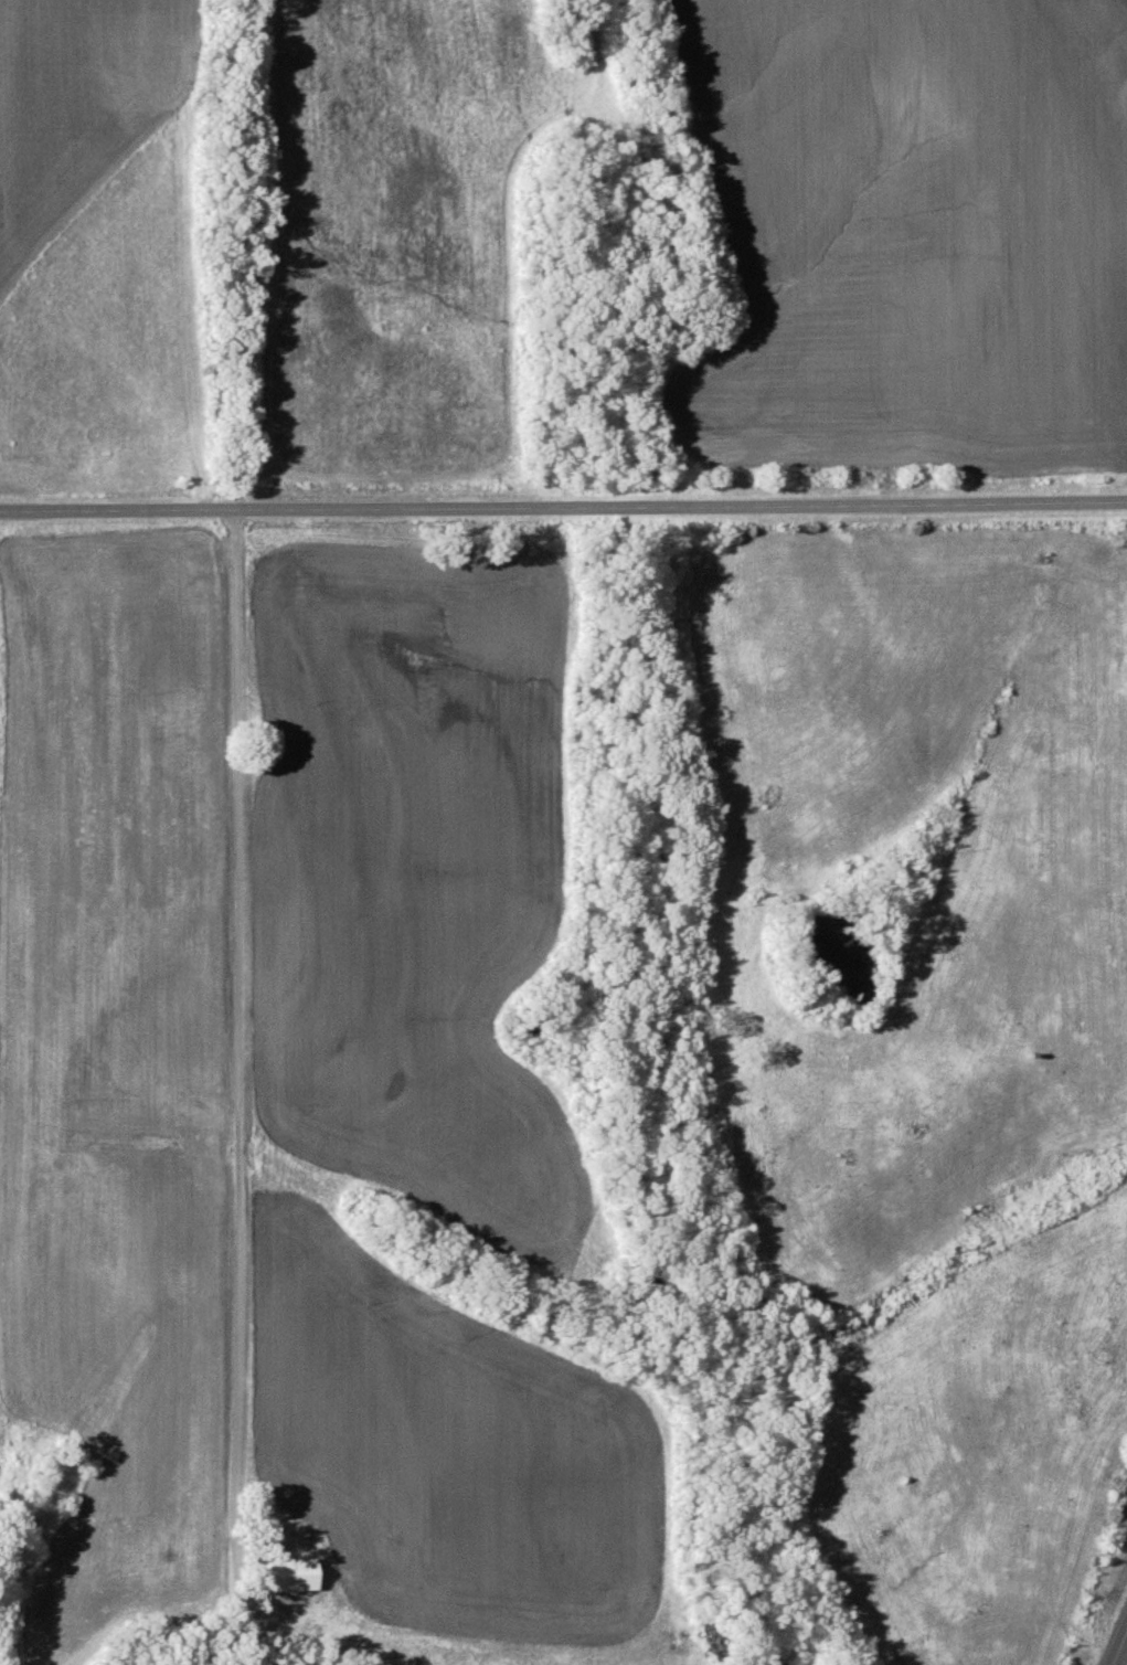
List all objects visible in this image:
road: (563, 508)
road: (240, 1103)
building: (289, 1573)
road: (1119, 1650)

